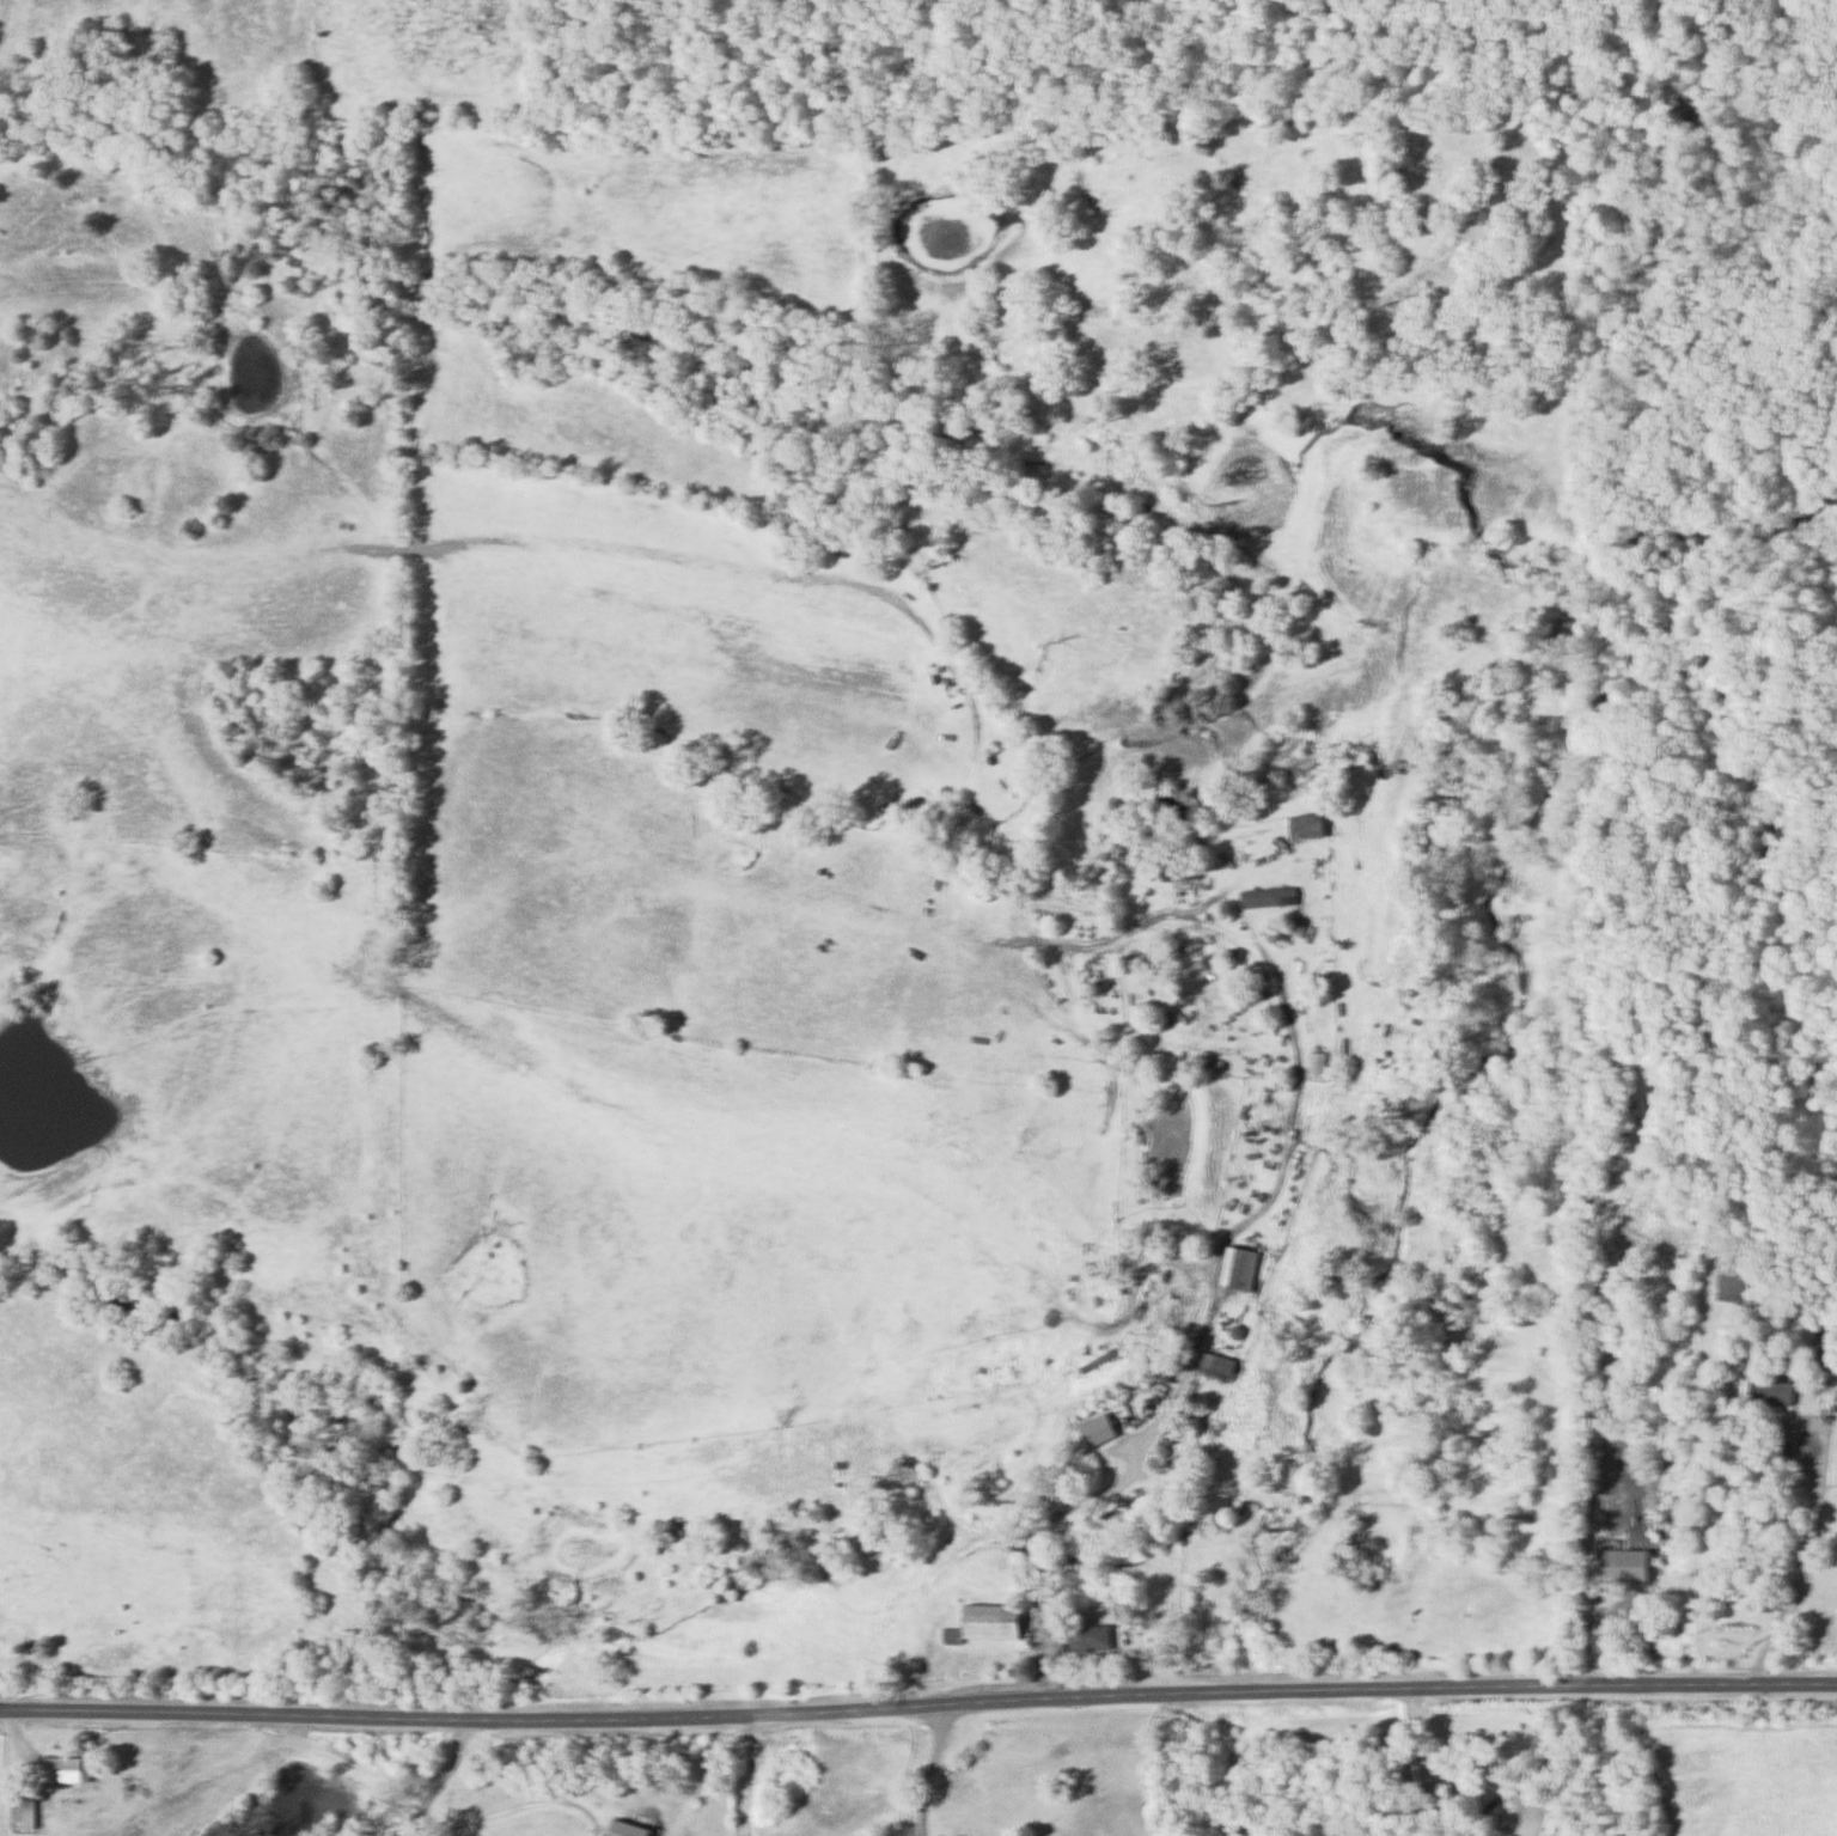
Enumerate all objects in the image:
building: (1311, 826)
building: (1182, 872)
building: (1269, 898)
road: (1148, 920)
building: (1318, 1063)
building: (1241, 1269)
road: (1174, 1385)
building: (1772, 1393)
building: (1099, 1432)
road: (1823, 1432)
road: (1799, 1590)
building: (994, 1623)
building: (952, 1636)
building: (1092, 1640)
road: (917, 1708)
road: (1256, 1763)
road: (1415, 1764)
road: (936, 1770)
road: (753, 1775)
road: (44, 1776)
road: (454, 1777)
building: (24, 1816)
building: (633, 1830)

